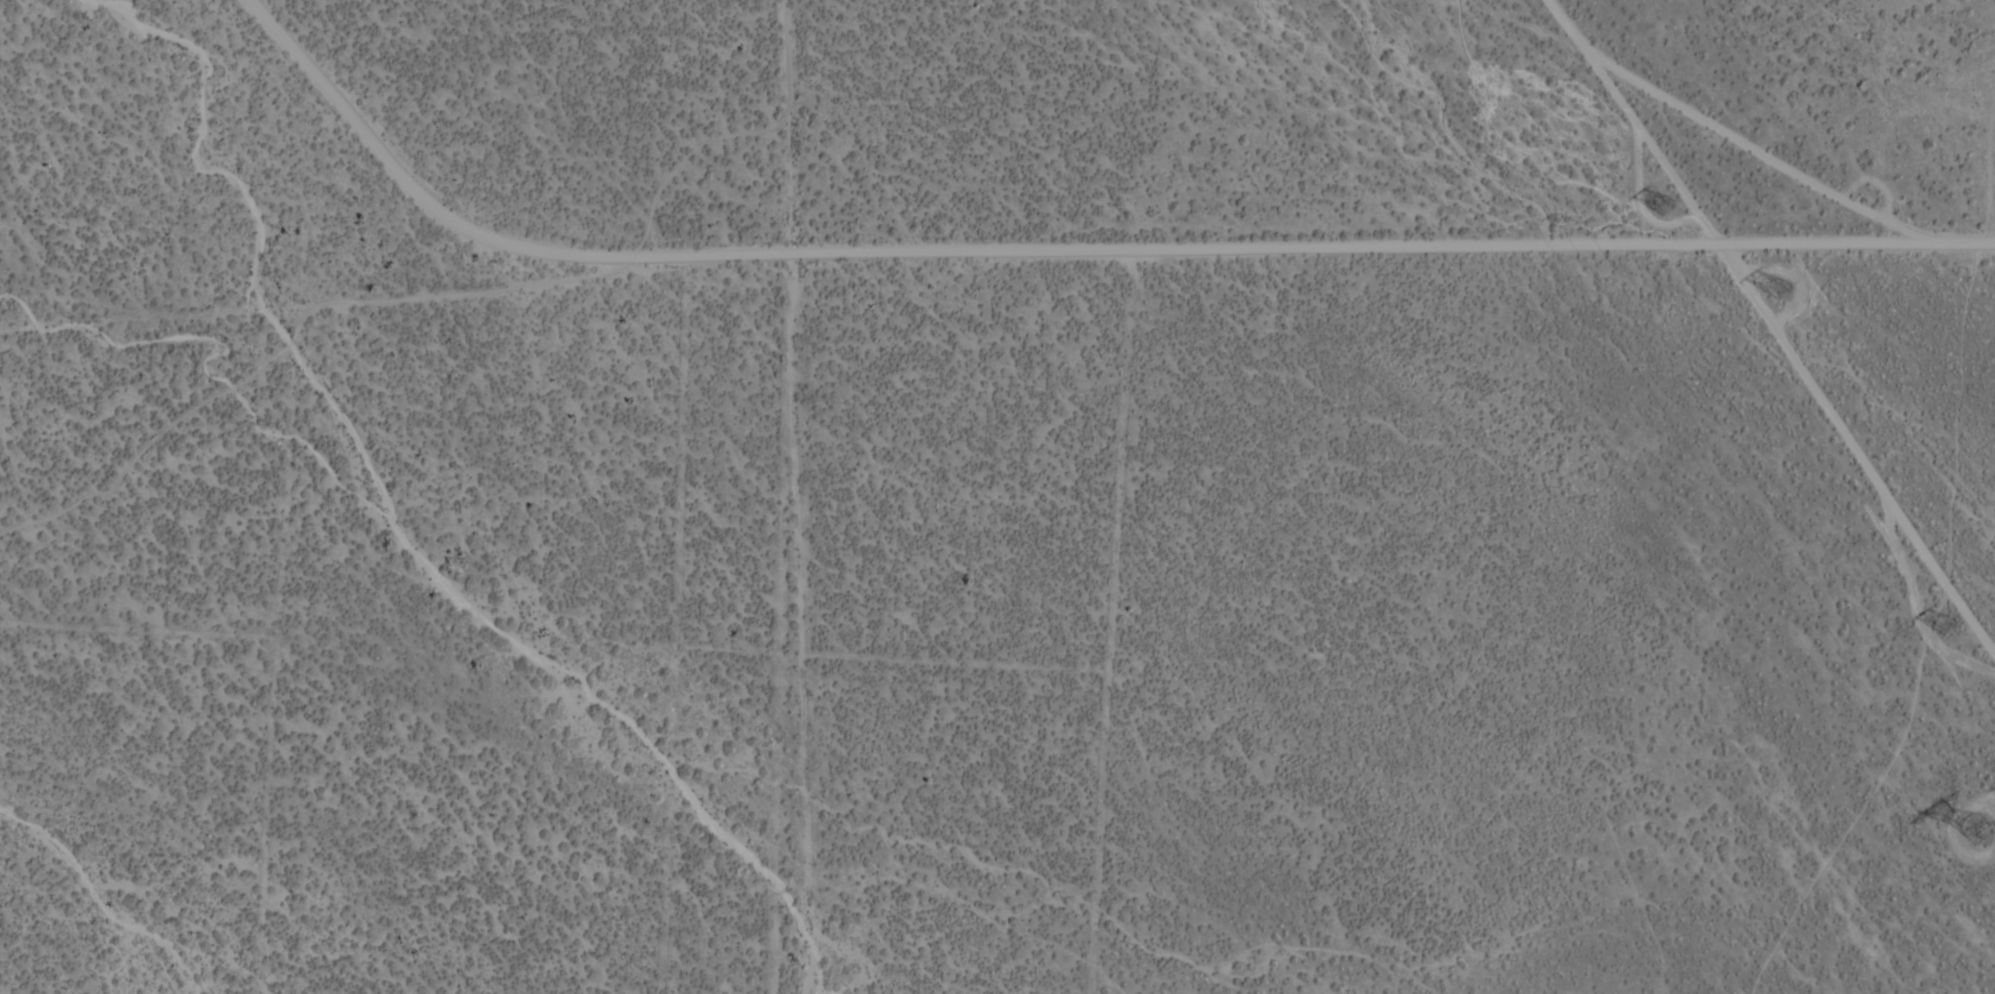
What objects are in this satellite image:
power tower: (1674, 211)
road: (1066, 261)
power tower: (1791, 292)
power tower: (1958, 627)
power tower: (1986, 826)

